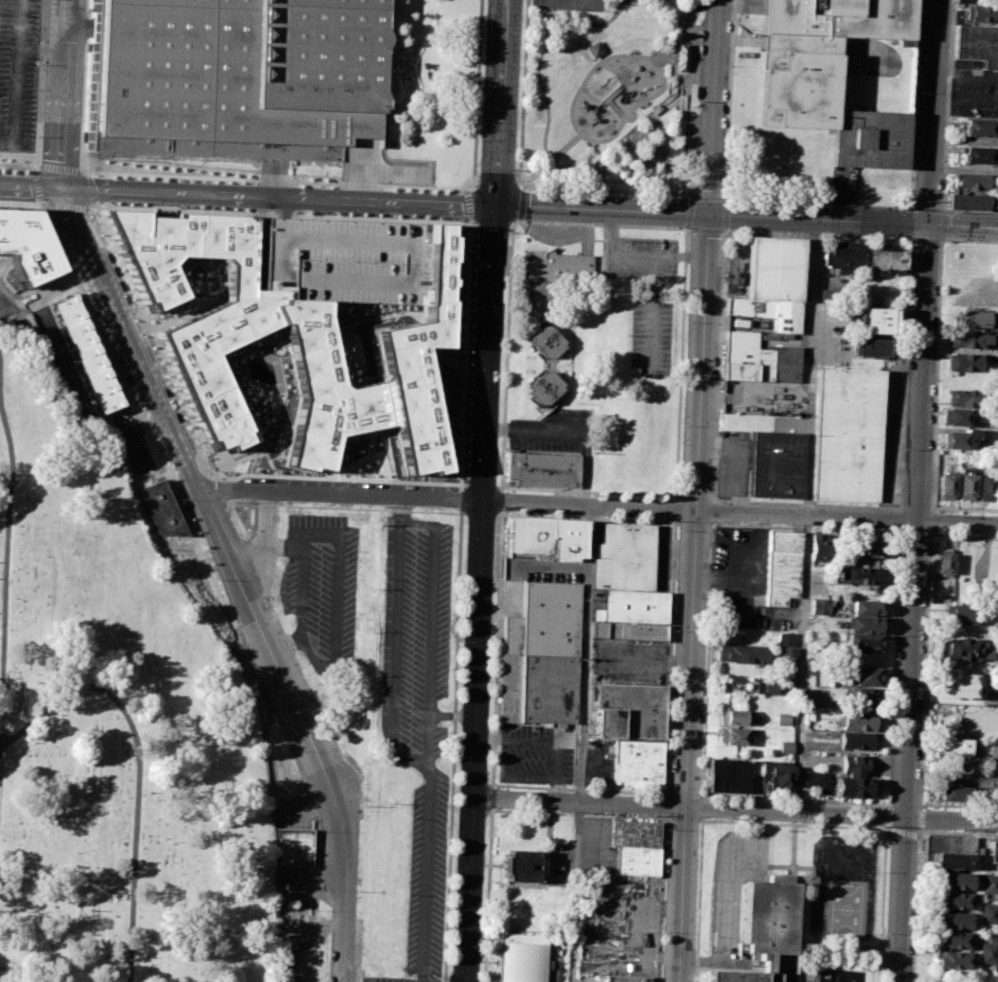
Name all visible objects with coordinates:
building: (965, 0)
park: (570, 4)
road: (665, 8)
building: (983, 13)
road: (669, 30)
road: (680, 38)
building: (977, 44)
building: (680, 57)
road: (538, 63)
road: (673, 64)
building: (238, 72)
building: (829, 74)
road: (662, 78)
parking lot: (18, 79)
street lamp: (482, 86)
road: (39, 87)
road: (67, 92)
road: (476, 99)
park: (610, 100)
road: (500, 103)
road: (677, 112)
road: (931, 113)
building: (980, 127)
road: (642, 129)
road: (945, 132)
building: (977, 154)
road: (18, 156)
road: (660, 159)
road: (549, 161)
road: (38, 166)
road: (61, 169)
street lamp: (477, 172)
road: (677, 177)
road: (272, 180)
building: (971, 180)
road: (32, 183)
road: (38, 184)
road: (470, 185)
road: (85, 187)
road: (604, 190)
road: (280, 195)
road: (21, 199)
road: (515, 199)
road: (44, 201)
building: (966, 201)
road: (468, 205)
traffic signals: (495, 206)
road: (70, 207)
road: (93, 207)
road: (690, 212)
road: (286, 214)
road: (710, 215)
road: (725, 216)
road: (513, 219)
road: (962, 227)
road: (909, 245)
building: (26, 248)
building: (842, 256)
building: (885, 258)
building: (338, 262)
parking garage: (338, 262)
building: (555, 266)
road: (510, 267)
building: (773, 282)
building: (977, 319)
building: (877, 320)
building: (971, 338)
road: (153, 340)
building: (544, 341)
building: (284, 345)
building: (871, 347)
road: (465, 354)
building: (87, 355)
building: (759, 359)
building: (968, 362)
road: (681, 364)
road: (921, 373)
road: (151, 388)
building: (544, 389)
building: (959, 397)
building: (958, 416)
building: (847, 435)
building: (958, 439)
road: (158, 454)
building: (776, 465)
building: (542, 470)
road: (338, 478)
building: (947, 484)
building: (967, 484)
road: (482, 485)
building: (986, 485)
road: (494, 490)
road: (698, 490)
road: (588, 491)
road: (232, 492)
road: (460, 499)
road: (501, 501)
road: (591, 505)
road: (347, 507)
building: (164, 508)
road: (675, 509)
road: (400, 511)
road: (907, 511)
road: (481, 514)
road: (805, 515)
road: (587, 518)
road: (957, 522)
building: (548, 536)
road: (263, 544)
building: (820, 547)
building: (869, 547)
building: (624, 556)
building: (943, 562)
building: (782, 567)
building: (858, 574)
road: (8, 581)
building: (979, 584)
parking lot: (323, 590)
road: (479, 593)
building: (819, 607)
building: (865, 607)
building: (632, 609)
building: (965, 613)
building: (864, 624)
building: (628, 632)
road: (3, 635)
road: (926, 636)
building: (785, 639)
building: (863, 644)
road: (496, 648)
building: (964, 649)
building: (743, 653)
building: (539, 655)
building: (788, 655)
road: (669, 657)
parking lot: (627, 660)
building: (864, 676)
building: (960, 684)
building: (769, 687)
building: (866, 699)
building: (630, 710)
road: (452, 714)
parking lot: (418, 717)
building: (738, 717)
building: (782, 719)
building: (858, 721)
park: (113, 723)
building: (734, 736)
building: (856, 741)
road: (582, 743)
road: (536, 744)
road: (451, 745)
building: (956, 745)
building: (785, 746)
building: (994, 749)
parking lot: (535, 750)
road: (908, 751)
road: (426, 759)
building: (638, 763)
building: (854, 764)
road: (140, 766)
building: (732, 774)
building: (815, 777)
road: (328, 778)
building: (777, 778)
building: (854, 787)
road: (578, 789)
building: (955, 792)
building: (994, 797)
road: (701, 804)
road: (664, 805)
road: (734, 809)
road: (919, 817)
road: (788, 824)
road: (890, 830)
building: (635, 833)
building: (296, 846)
building: (950, 851)
building: (994, 851)
building: (637, 860)
building: (517, 867)
road: (429, 870)
building: (957, 880)
building: (990, 884)
parking lot: (733, 895)
road: (660, 898)
road: (733, 899)
building: (955, 900)
road: (916, 904)
building: (988, 914)
building: (955, 921)
building: (765, 927)
building: (954, 940)
building: (988, 952)
building: (521, 956)
building: (953, 960)
road: (718, 961)
building: (627, 978)

